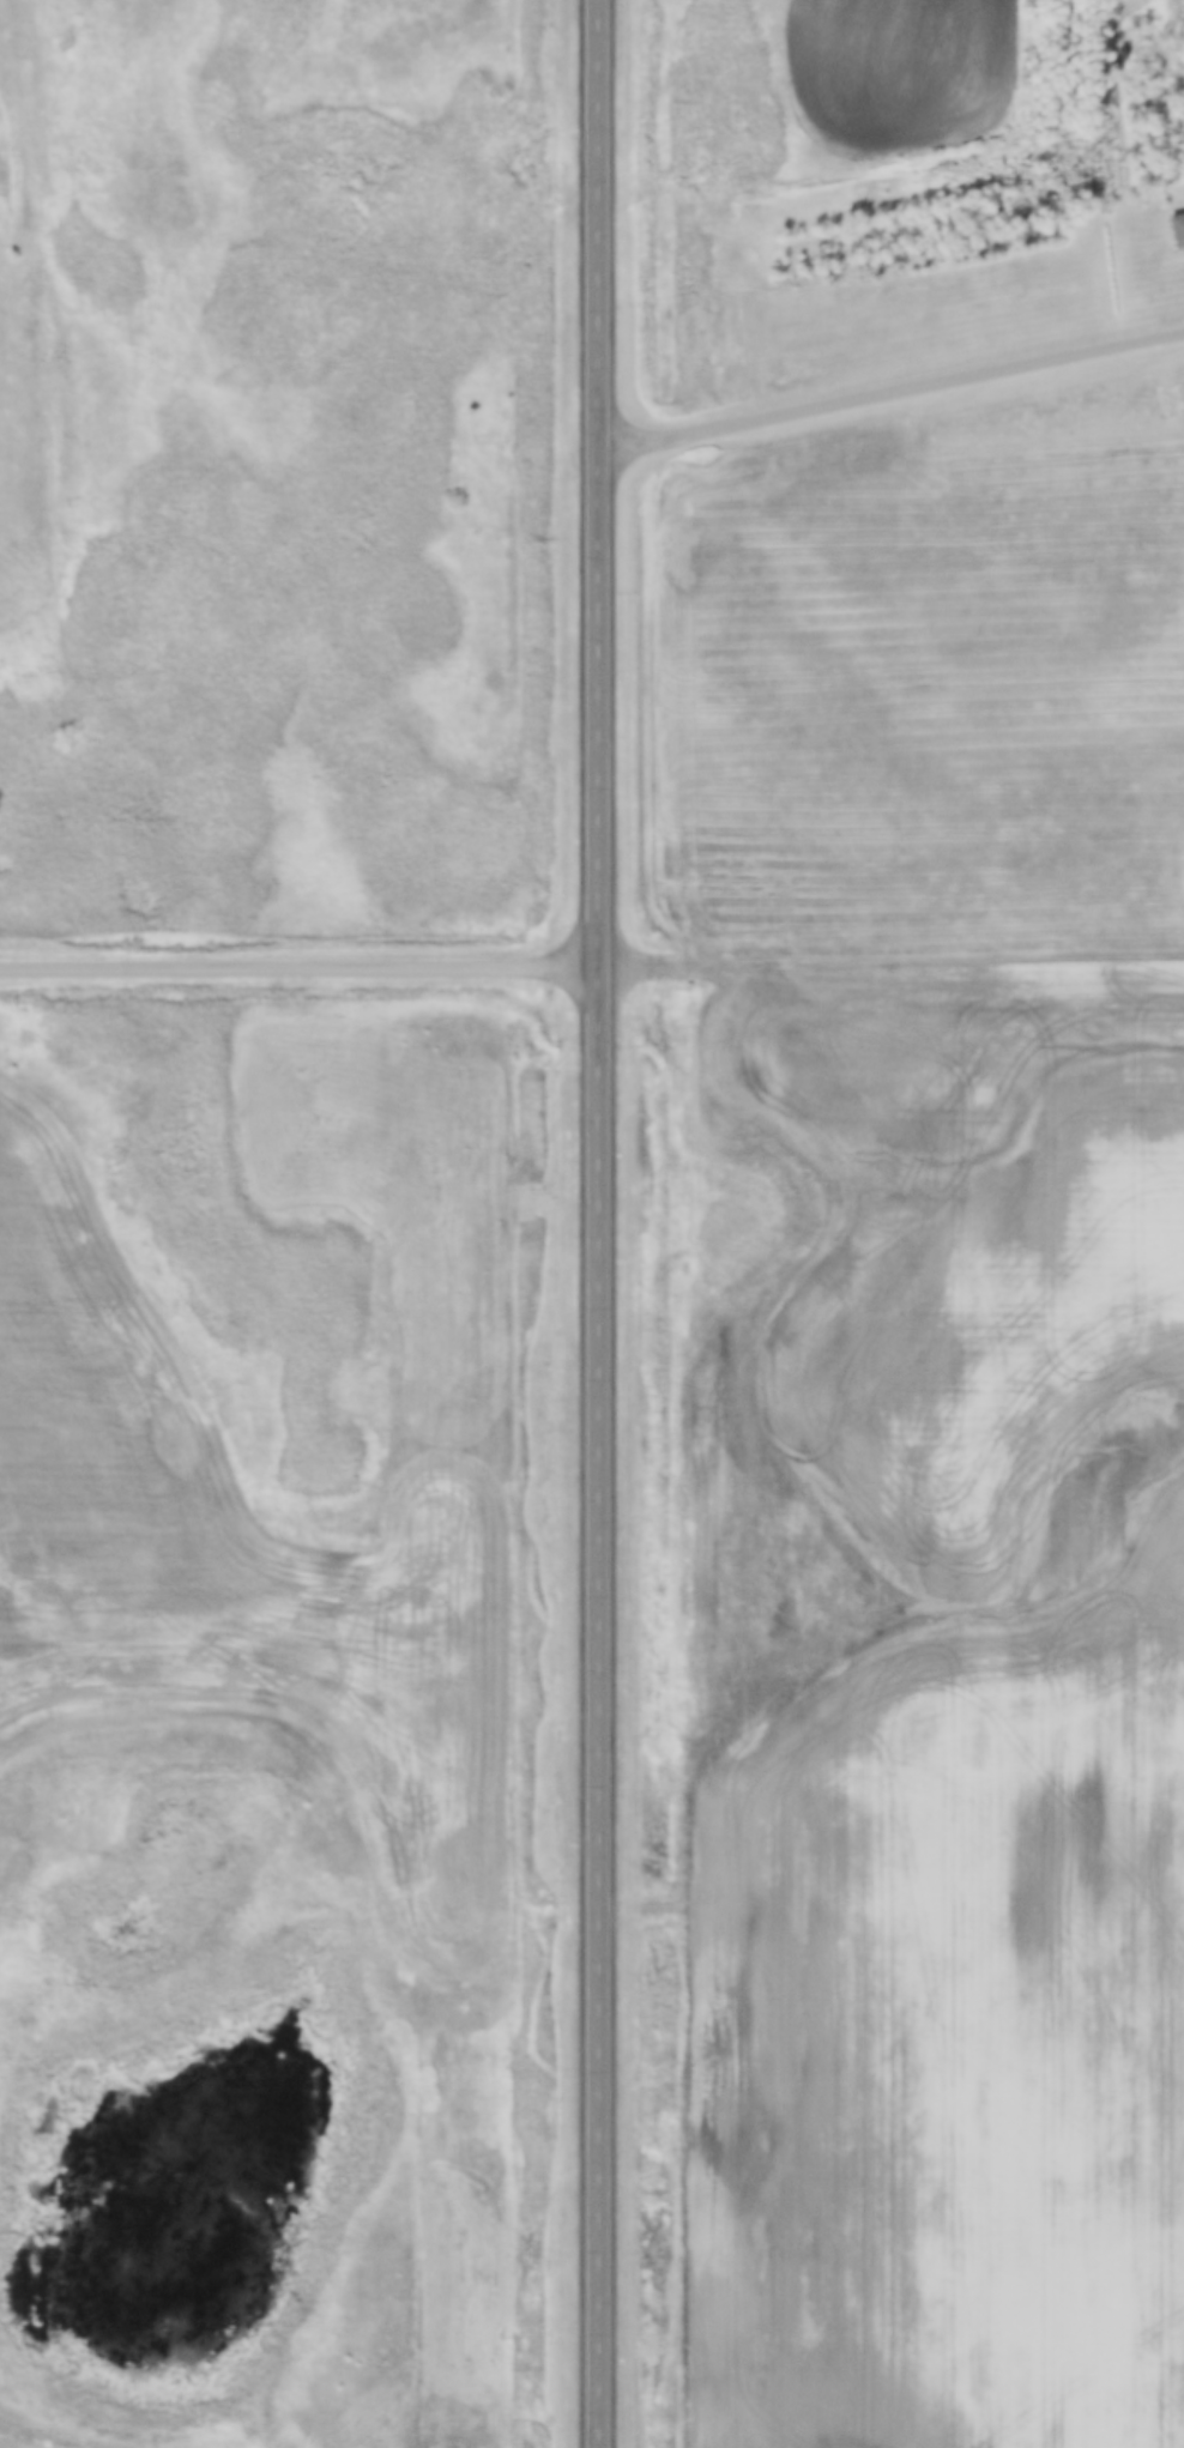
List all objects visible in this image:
building: (1178, 228)
road: (889, 395)
road: (297, 971)
road: (593, 1223)

